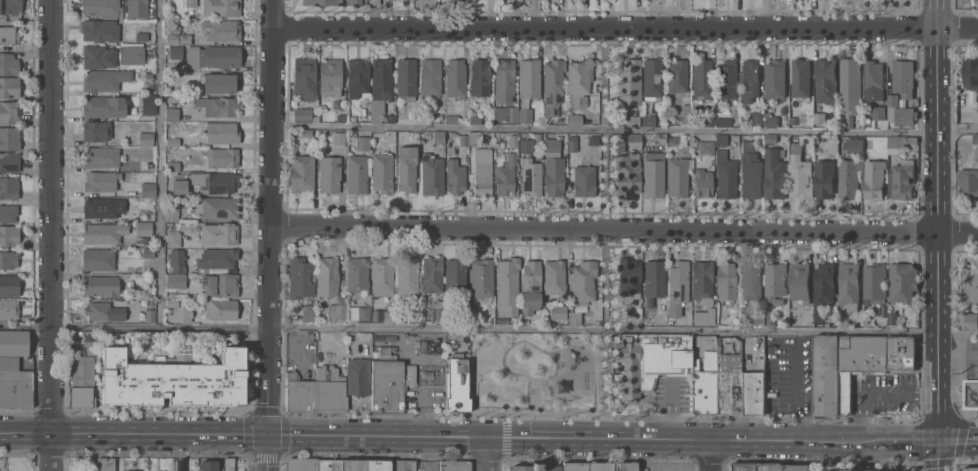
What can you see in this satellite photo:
building: (322, 2)
building: (356, 2)
building: (374, 2)
building: (191, 3)
building: (0, 5)
building: (12, 6)
building: (221, 7)
building: (103, 8)
building: (137, 9)
road: (384, 13)
building: (16, 17)
road: (604, 26)
road: (956, 26)
building: (100, 30)
building: (220, 30)
building: (8, 35)
building: (141, 36)
building: (178, 38)
building: (175, 51)
building: (135, 53)
building: (213, 56)
building: (99, 57)
building: (9, 64)
road: (936, 65)
building: (971, 73)
building: (149, 75)
building: (677, 75)
building: (331, 77)
building: (358, 77)
building: (431, 77)
building: (480, 77)
building: (305, 78)
building: (406, 78)
building: (456, 78)
building: (530, 78)
building: (702, 78)
building: (801, 78)
building: (903, 78)
building: (105, 79)
building: (504, 79)
building: (652, 79)
building: (775, 80)
building: (826, 80)
building: (873, 80)
building: (580, 81)
building: (750, 81)
building: (219, 83)
building: (381, 83)
building: (629, 83)
building: (726, 83)
building: (851, 85)
building: (553, 86)
building: (9, 87)
building: (150, 87)
building: (902, 102)
building: (149, 105)
building: (104, 106)
building: (218, 106)
building: (9, 111)
building: (173, 111)
building: (769, 112)
building: (879, 112)
building: (900, 112)
building: (507, 113)
building: (686, 113)
building: (305, 115)
building: (525, 115)
building: (808, 116)
building: (975, 116)
building: (341, 117)
building: (391, 117)
building: (353, 118)
building: (451, 118)
building: (756, 118)
building: (820, 118)
building: (436, 119)
building: (475, 119)
building: (575, 119)
building: (632, 120)
building: (648, 120)
building: (708, 121)
building: (771, 121)
building: (841, 121)
building: (723, 122)
road: (596, 127)
road: (956, 129)
building: (96, 130)
road: (927, 131)
building: (222, 132)
building: (405, 132)
building: (305, 133)
building: (538, 136)
building: (438, 137)
building: (10, 138)
building: (146, 138)
building: (339, 138)
building: (474, 138)
building: (660, 138)
building: (771, 138)
building: (975, 138)
building: (464, 139)
building: (513, 140)
building: (722, 140)
building: (173, 141)
building: (634, 141)
building: (363, 143)
building: (573, 143)
building: (899, 143)
building: (526, 145)
building: (552, 145)
building: (855, 146)
building: (706, 147)
road: (936, 153)
building: (102, 157)
building: (222, 157)
building: (9, 161)
road: (162, 163)
building: (146, 164)
building: (173, 166)
building: (407, 168)
building: (382, 171)
building: (482, 171)
building: (751, 171)
building: (302, 172)
building: (800, 173)
building: (330, 174)
building: (357, 174)
building: (432, 174)
building: (628, 174)
building: (653, 174)
building: (506, 175)
building: (726, 175)
building: (775, 175)
building: (455, 176)
building: (531, 176)
building: (554, 176)
building: (677, 177)
building: (824, 178)
building: (848, 179)
building: (874, 179)
building: (584, 180)
building: (904, 180)
building: (101, 181)
building: (214, 181)
building: (179, 183)
building: (703, 183)
building: (969, 183)
building: (9, 187)
building: (148, 189)
road: (935, 203)
building: (101, 207)
building: (217, 207)
building: (8, 213)
building: (173, 213)
road: (52, 216)
road: (272, 217)
road: (570, 226)
building: (144, 228)
road: (902, 230)
road: (606, 232)
road: (956, 232)
building: (103, 233)
building: (219, 233)
building: (9, 234)
building: (174, 239)
building: (143, 240)
building: (148, 253)
building: (218, 258)
building: (8, 259)
building: (99, 259)
building: (177, 260)
building: (432, 274)
building: (358, 275)
building: (408, 276)
building: (301, 277)
building: (383, 277)
building: (456, 277)
building: (555, 277)
building: (482, 278)
building: (629, 279)
building: (176, 280)
building: (751, 280)
building: (584, 281)
building: (653, 281)
building: (702, 281)
building: (726, 281)
building: (800, 281)
building: (678, 282)
building: (775, 282)
building: (903, 282)
building: (875, 283)
building: (220, 284)
road: (937, 284)
building: (969, 284)
building: (9, 285)
building: (507, 285)
building: (102, 286)
building: (331, 287)
building: (531, 287)
building: (849, 287)
building: (824, 289)
building: (968, 306)
building: (9, 309)
building: (107, 309)
building: (217, 311)
building: (437, 311)
building: (179, 312)
building: (359, 312)
building: (558, 312)
building: (309, 313)
building: (390, 314)
building: (150, 315)
building: (704, 317)
building: (575, 318)
building: (758, 318)
building: (770, 318)
building: (892, 318)
building: (968, 321)
road: (303, 327)
road: (773, 333)
road: (958, 335)
building: (14, 343)
building: (89, 347)
road: (958, 353)
building: (761, 357)
building: (650, 360)
building: (855, 367)
building: (358, 376)
building: (173, 380)
building: (82, 382)
building: (390, 382)
building: (458, 383)
park: (540, 383)
building: (705, 383)
building: (728, 383)
building: (15, 384)
road: (939, 388)
building: (317, 391)
building: (752, 393)
road: (878, 394)
building: (971, 394)
traffic signals: (269, 434)
road: (440, 435)
road: (910, 440)
traffic signals: (940, 441)
road: (959, 441)
road: (53, 452)
road: (269, 452)
road: (491, 453)
parking lot: (674, 454)
road: (710, 455)
road: (939, 456)
building: (106, 464)
building: (300, 464)
building: (208, 465)
building: (229, 465)
building: (329, 465)
building: (353, 465)
building: (378, 465)
building: (402, 466)
building: (455, 466)
building: (575, 466)
building: (599, 466)
building: (623, 466)
building: (743, 466)
building: (772, 466)
building: (534, 467)
building: (798, 467)
building: (970, 468)
building: (0, 470)
building: (129, 470)
building: (836, 470)
building: (877, 470)

